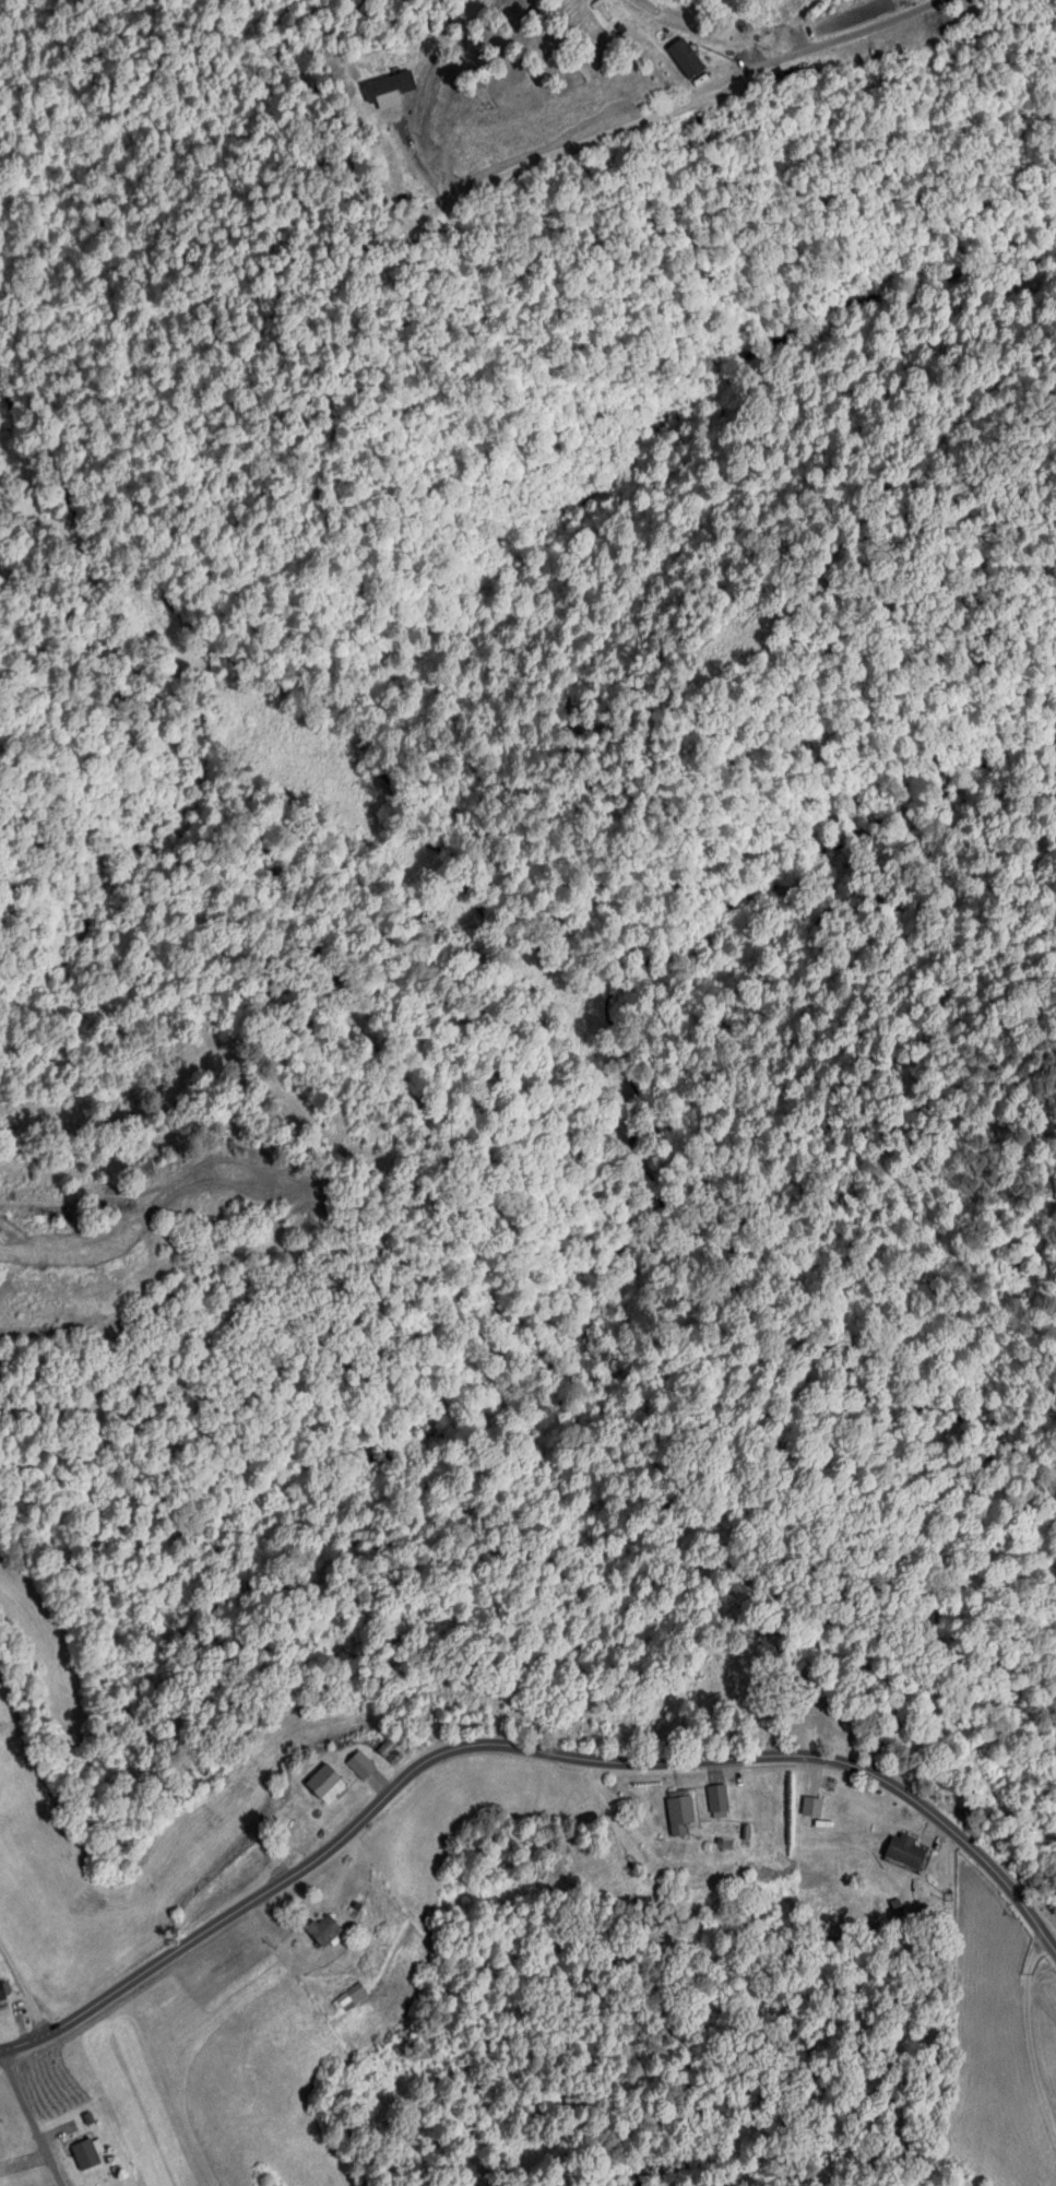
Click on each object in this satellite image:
road: (551, 149)
building: (393, 165)
building: (387, 1749)
road: (544, 1757)
building: (359, 1763)
building: (324, 1782)
building: (830, 1782)
building: (719, 1799)
building: (679, 1811)
building: (905, 1853)
building: (322, 1928)
building: (2, 1992)
building: (349, 1997)
road: (22, 2002)
road: (25, 2045)
road: (3, 2053)
road: (29, 2120)
building: (85, 2152)

